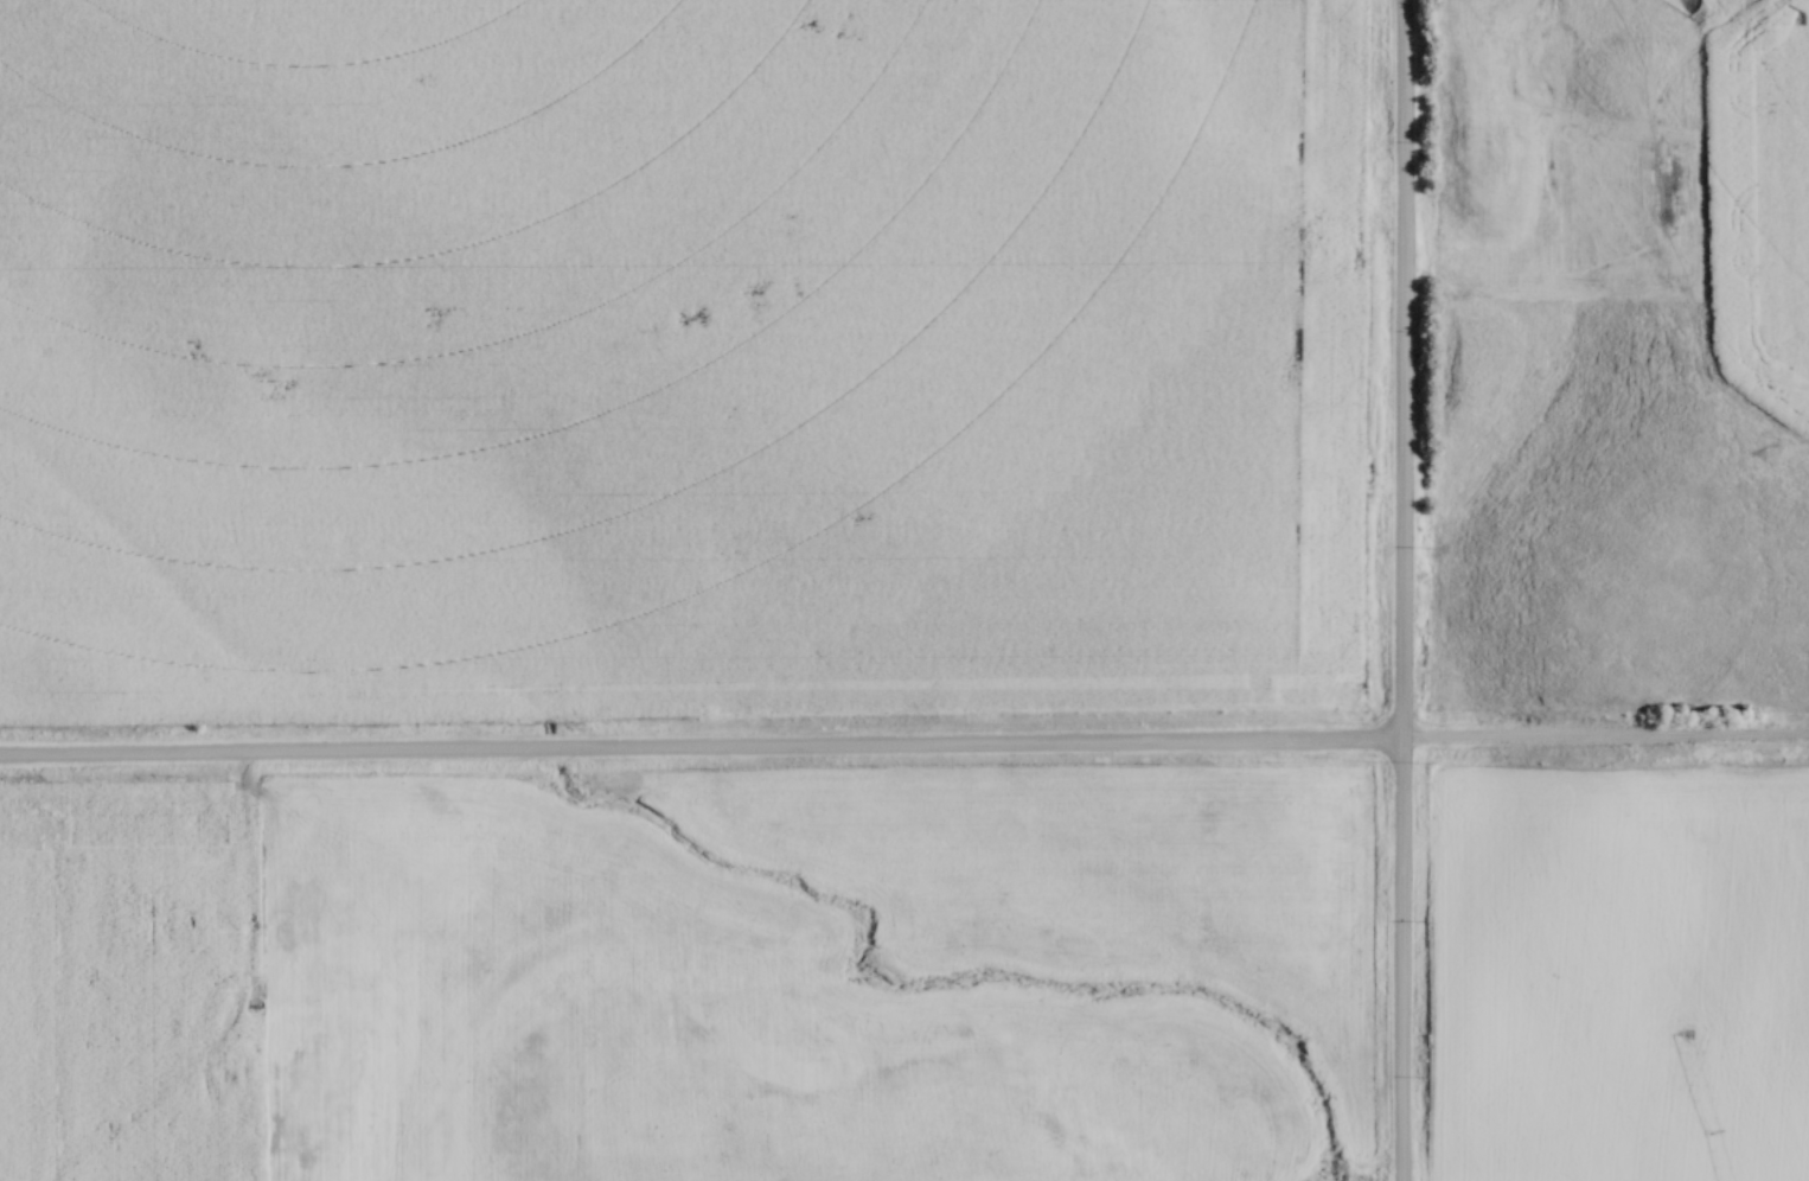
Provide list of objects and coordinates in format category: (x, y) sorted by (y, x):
road: (1400, 590)
road: (903, 755)
road: (245, 918)
building: (226, 1083)

